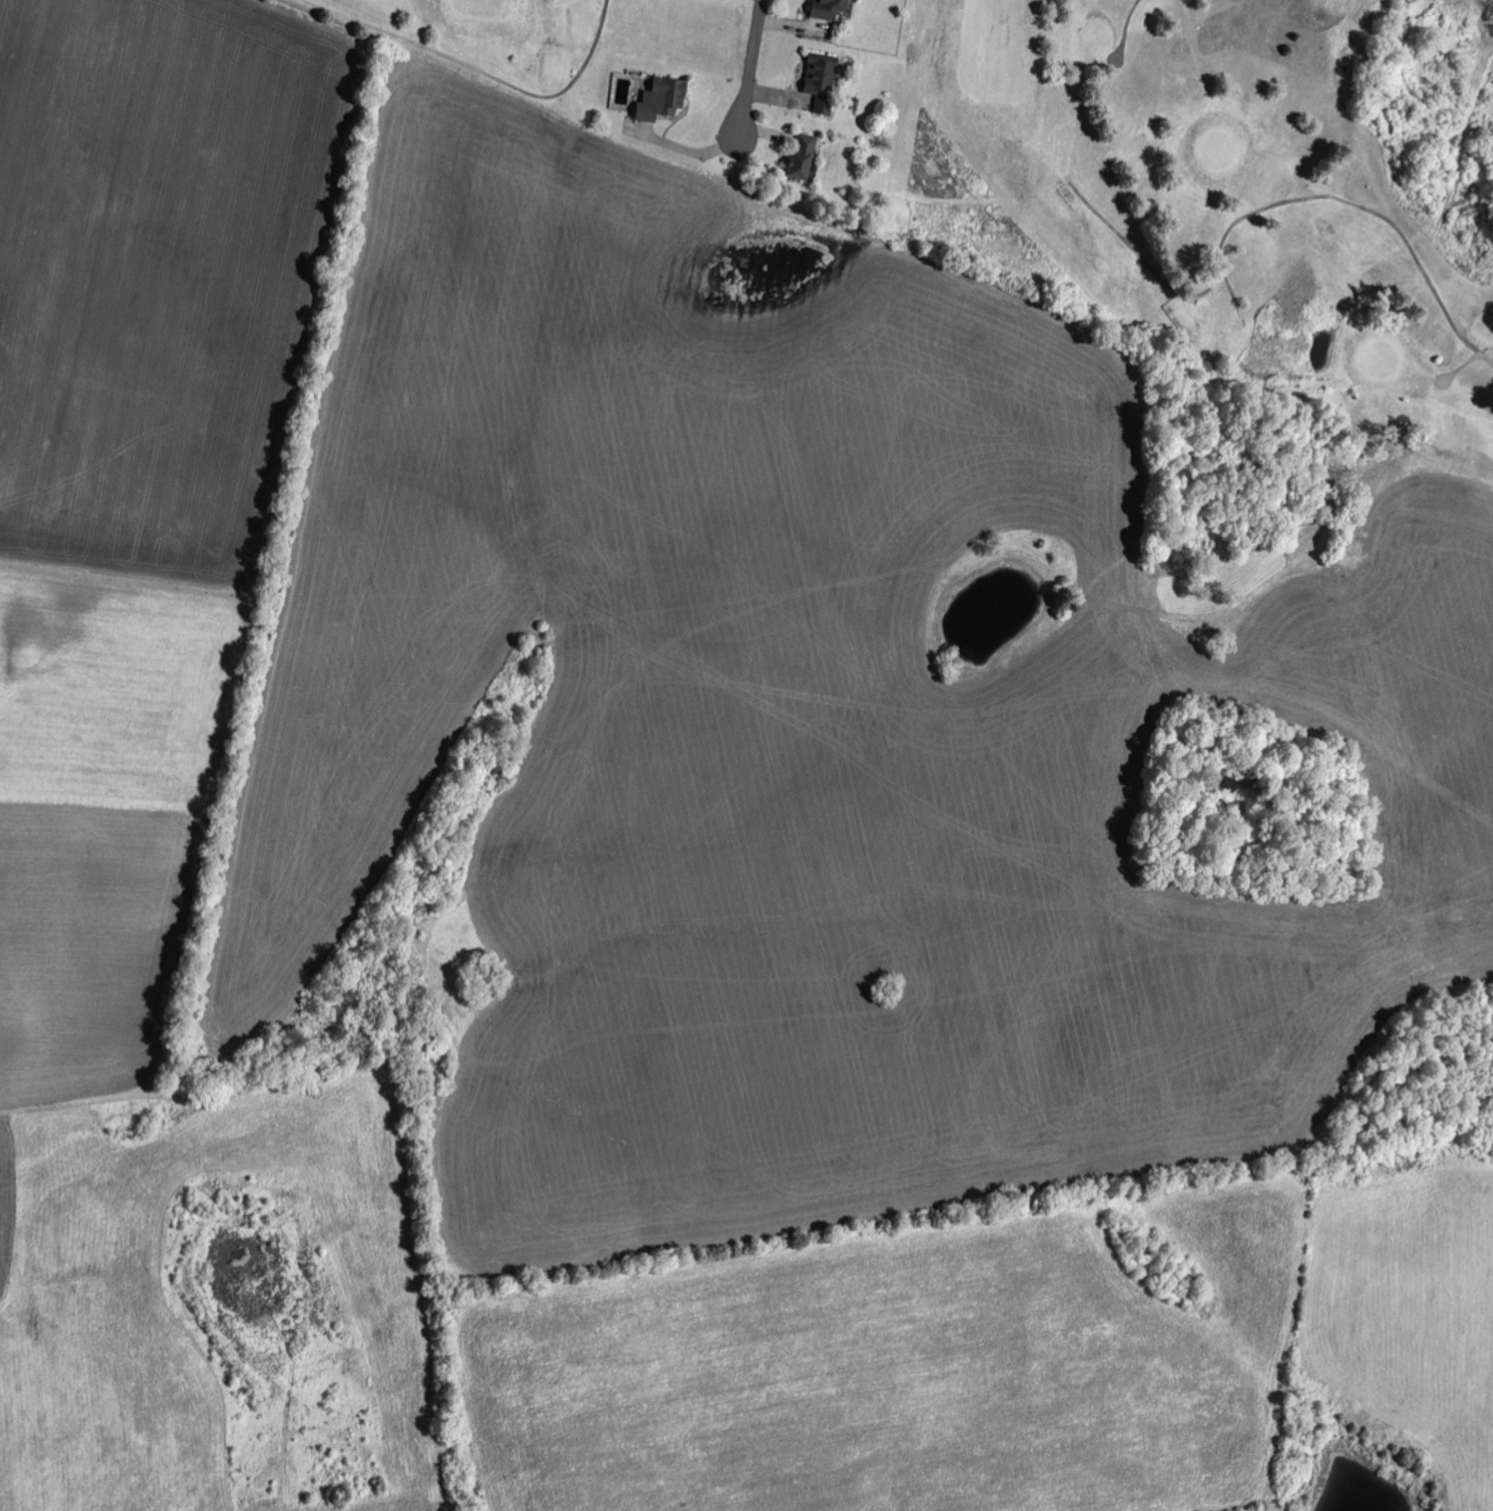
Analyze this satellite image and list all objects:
building: (829, 9)
park: (488, 41)
road: (749, 71)
building: (823, 81)
building: (650, 94)
building: (807, 156)
park: (1231, 177)

